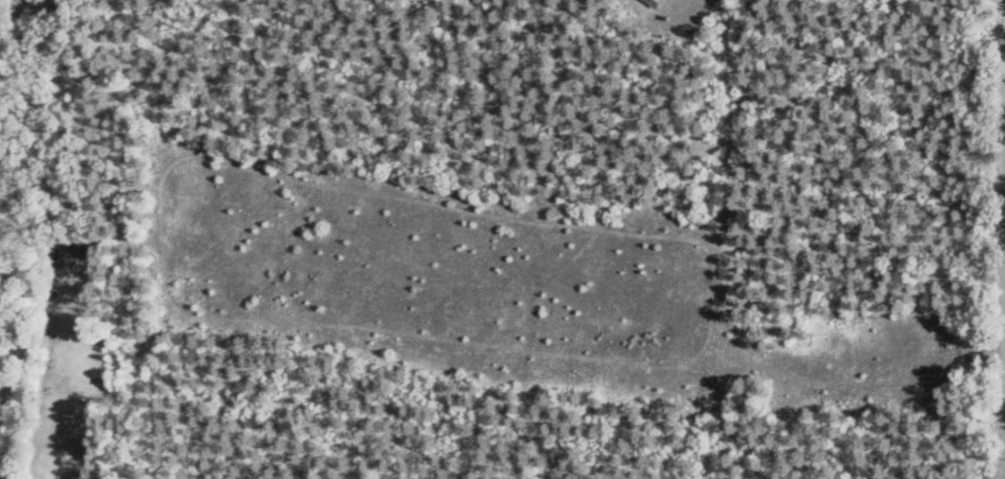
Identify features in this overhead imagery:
park: (387, 309)

